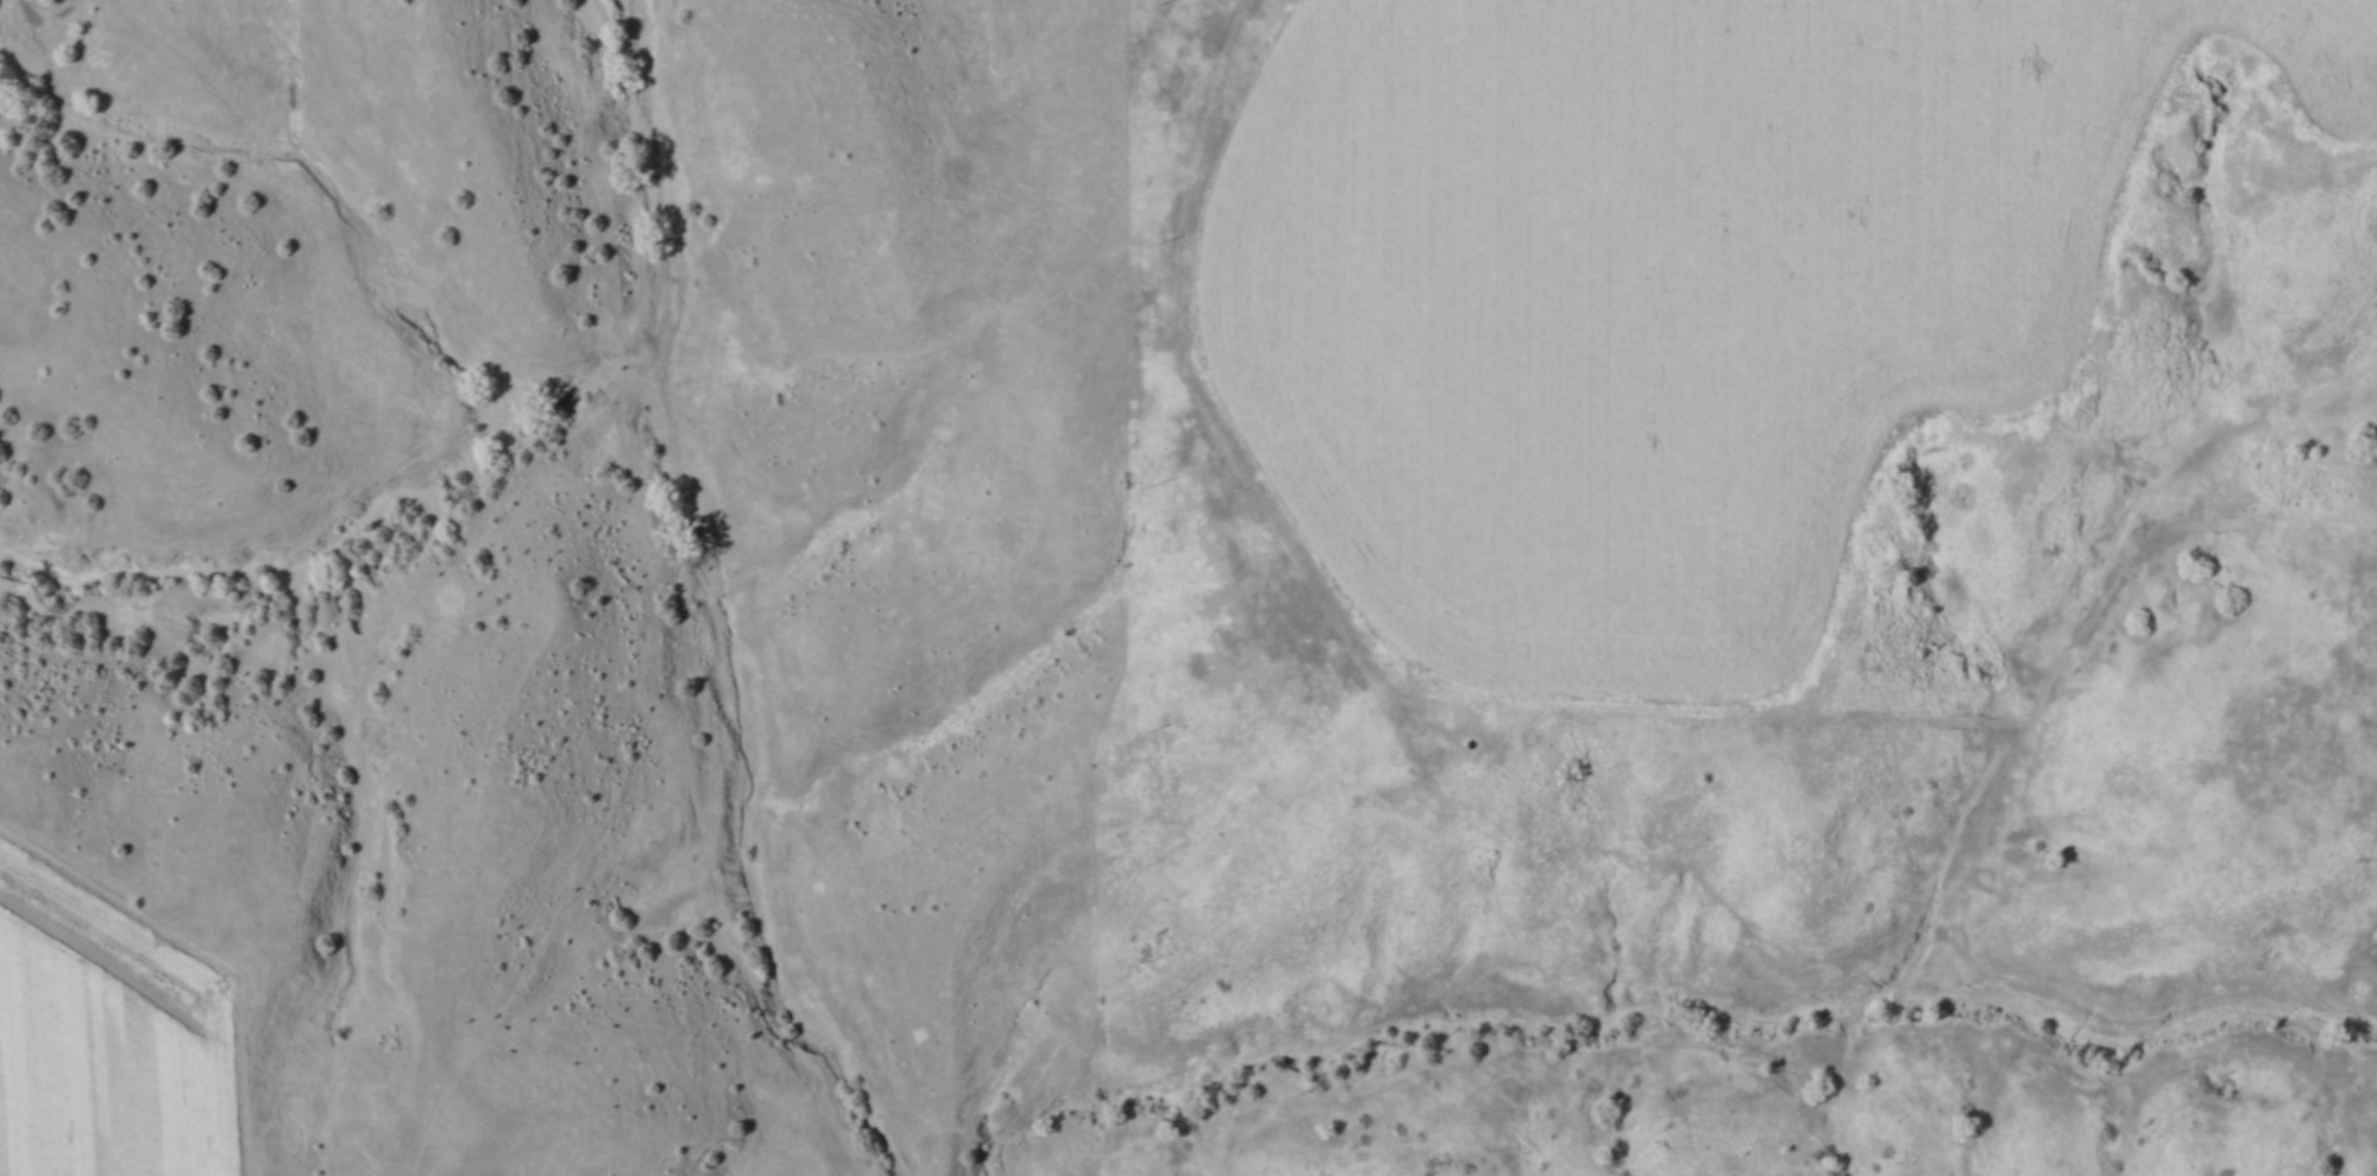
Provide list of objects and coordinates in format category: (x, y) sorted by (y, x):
crop: (2319, 51)
crop: (1652, 294)

